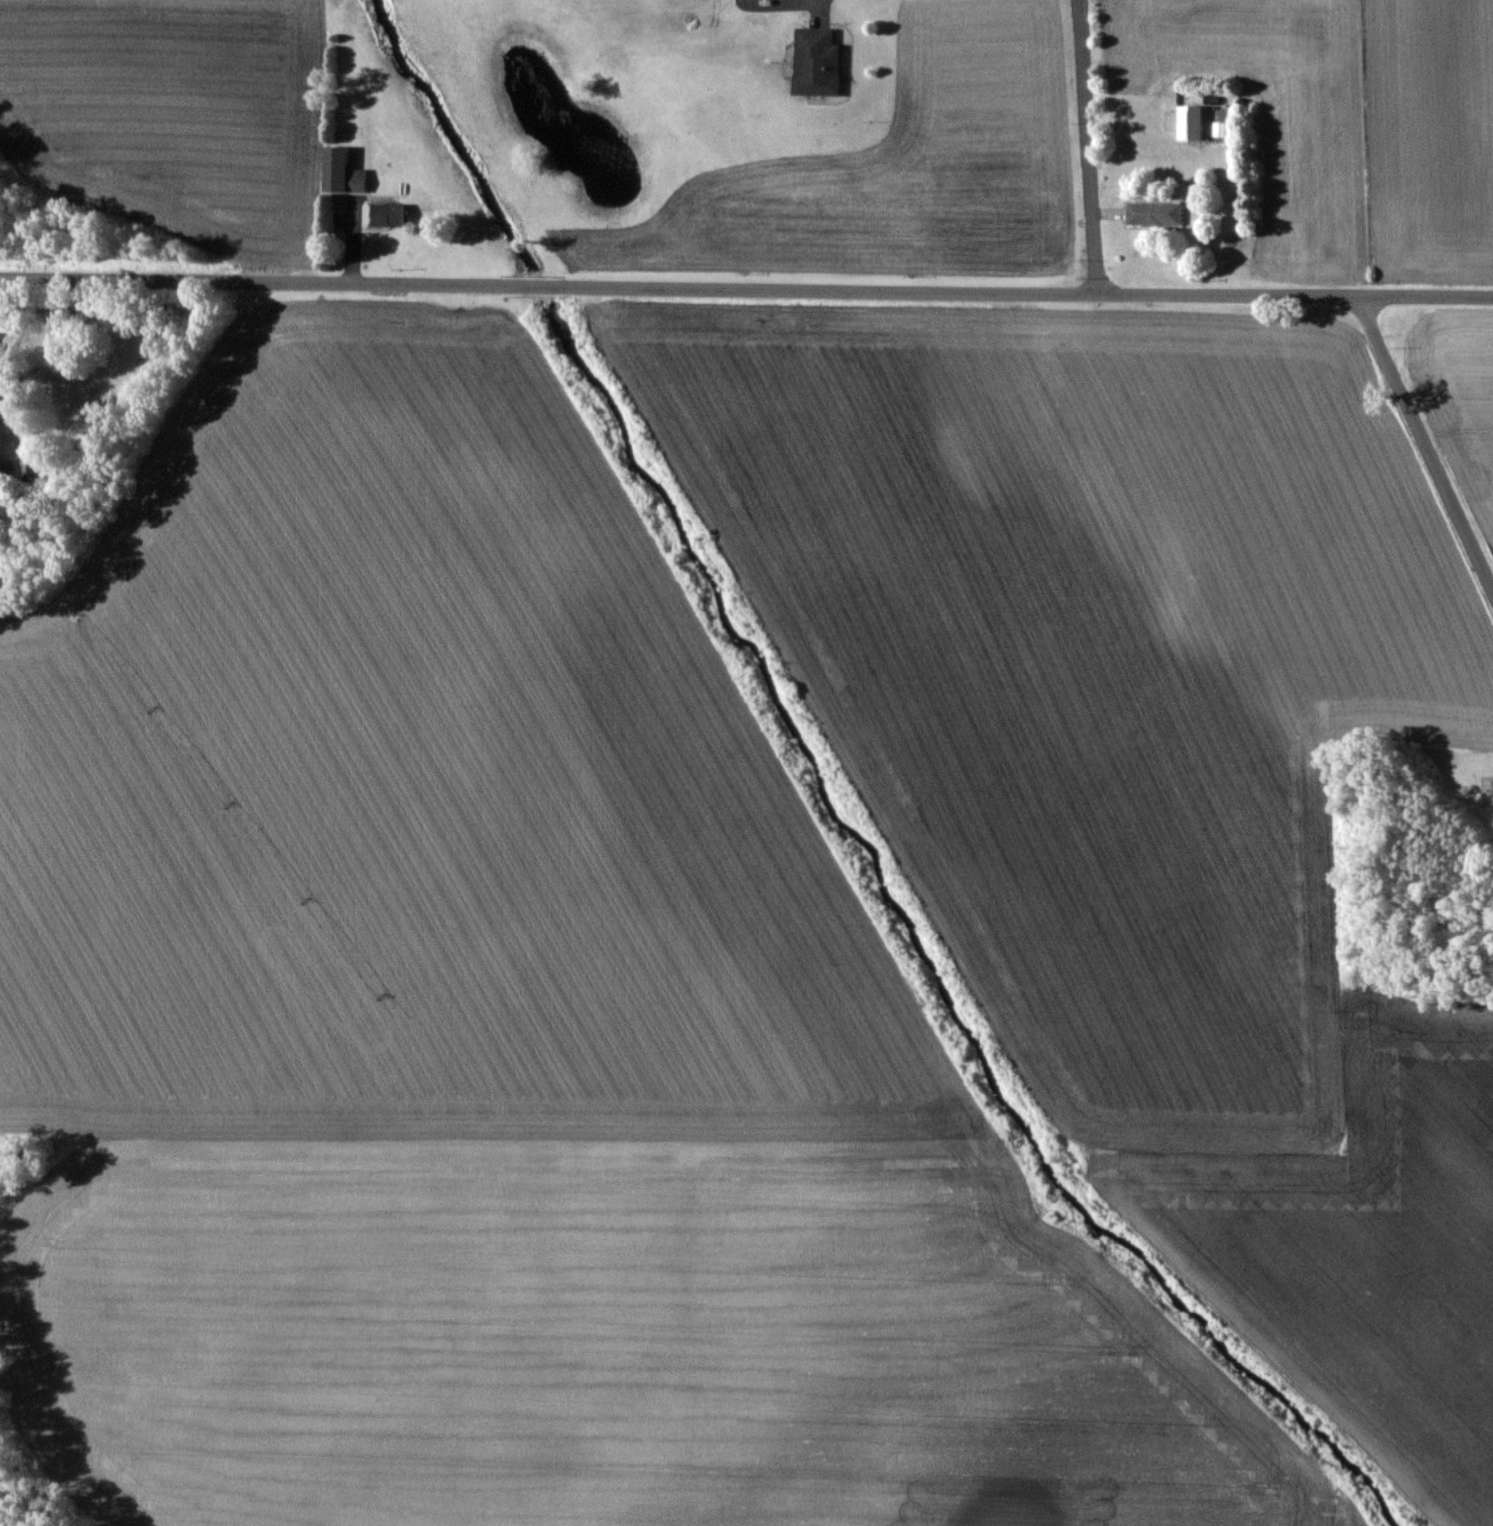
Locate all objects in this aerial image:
building: (814, 62)
building: (1187, 124)
road: (1089, 148)
building: (352, 179)
building: (1152, 213)
building: (386, 214)
road: (746, 291)
road: (1425, 437)

